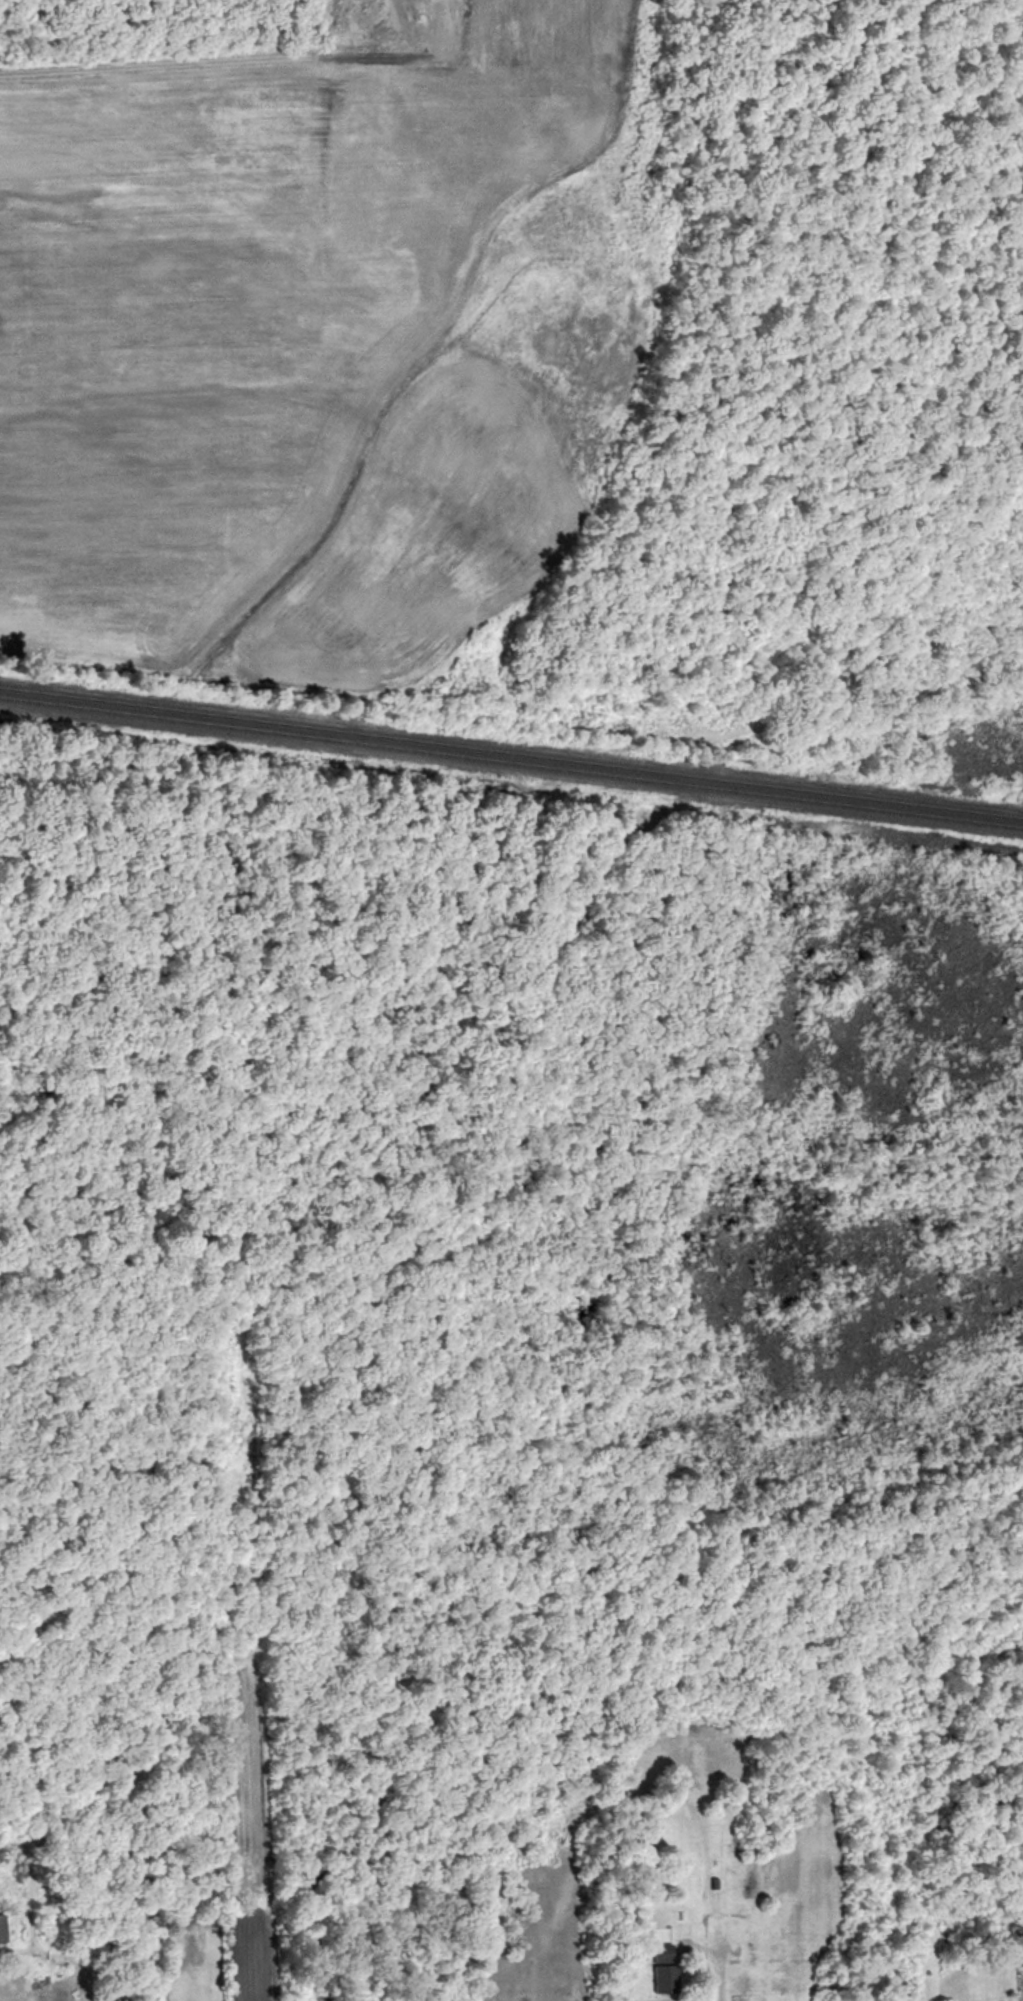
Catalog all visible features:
railway: (511, 753)
railway: (511, 763)
park: (77, 1014)
building: (660, 1968)
road: (721, 1983)

